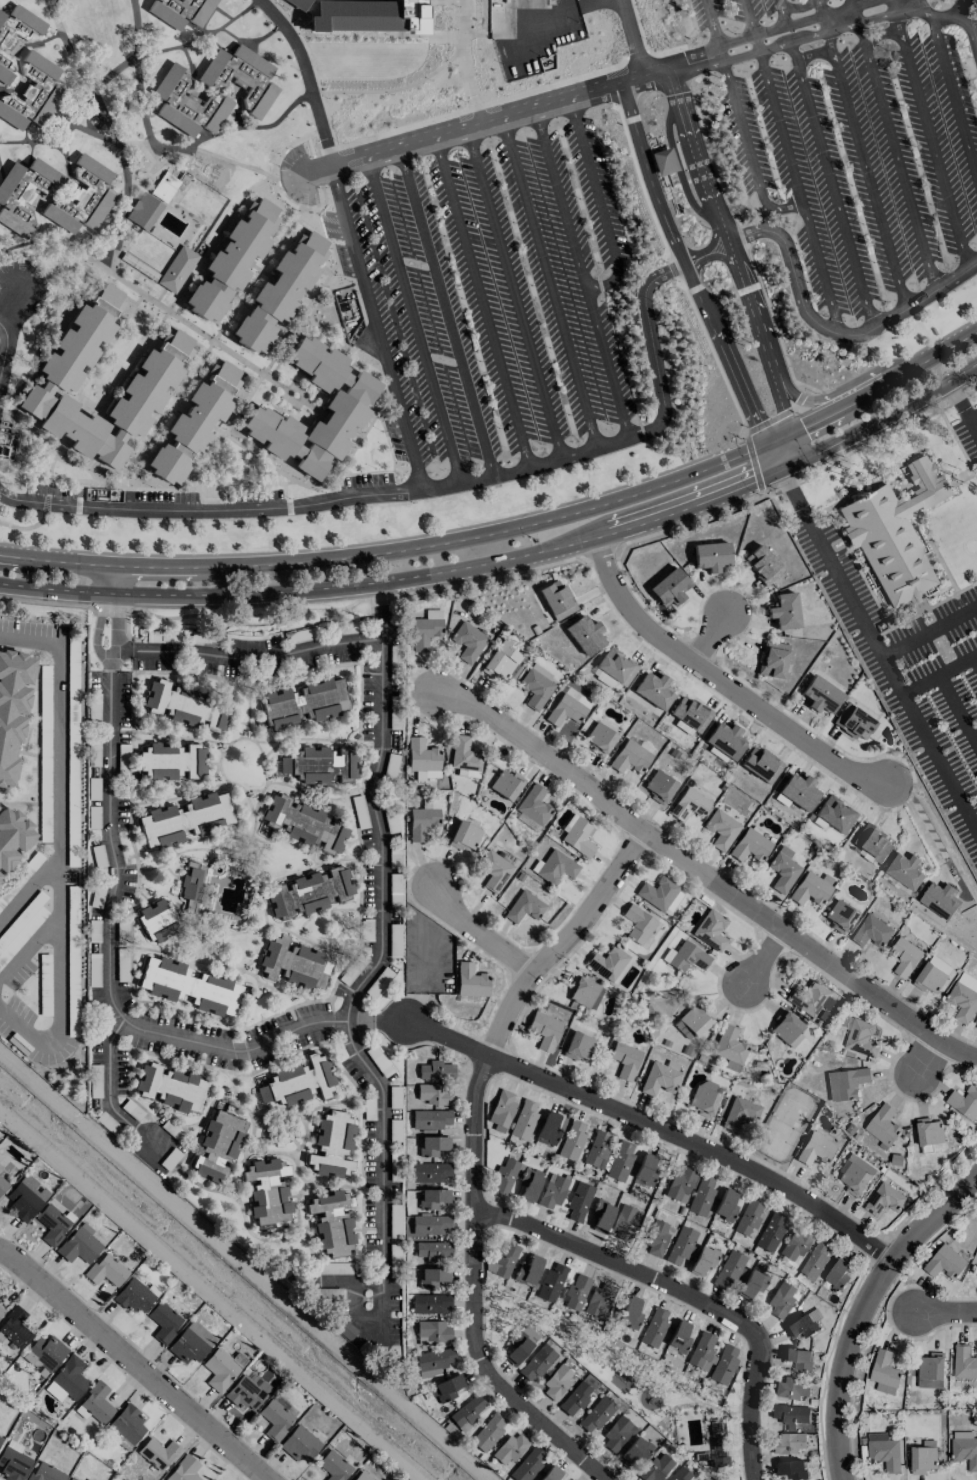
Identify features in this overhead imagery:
road: (890, 1)
road: (893, 1)
road: (900, 1)
building: (298, 4)
road: (867, 4)
road: (855, 6)
road: (799, 7)
parking lot: (742, 10)
building: (181, 11)
road: (821, 11)
road: (785, 12)
road: (940, 13)
building: (367, 15)
road: (877, 15)
road: (749, 17)
road: (971, 17)
road: (841, 18)
road: (769, 30)
road: (881, 34)
road: (635, 38)
road: (757, 43)
building: (6, 45)
road: (776, 47)
road: (66, 48)
road: (461, 54)
road: (815, 54)
road: (129, 59)
road: (313, 69)
road: (135, 71)
road: (306, 76)
building: (242, 78)
road: (953, 89)
building: (32, 94)
building: (188, 106)
road: (478, 106)
road: (526, 111)
road: (740, 120)
road: (931, 134)
road: (196, 141)
road: (31, 142)
road: (896, 150)
building: (665, 162)
parking lot: (863, 163)
road: (866, 164)
road: (243, 165)
road: (315, 170)
road: (125, 178)
road: (834, 184)
building: (165, 187)
road: (799, 192)
building: (24, 194)
building: (83, 199)
road: (602, 202)
building: (145, 211)
road: (734, 253)
building: (232, 261)
building: (178, 269)
road: (686, 269)
road: (584, 272)
road: (548, 282)
building: (279, 293)
road: (513, 293)
parking lot: (490, 295)
road: (150, 299)
road: (481, 302)
road: (445, 312)
road: (413, 320)
road: (375, 326)
road: (831, 331)
road: (5, 347)
road: (269, 363)
building: (158, 379)
road: (878, 389)
road: (831, 392)
building: (238, 394)
road: (962, 407)
building: (345, 408)
road: (972, 414)
building: (194, 424)
building: (7, 440)
road: (782, 452)
road: (450, 483)
road: (689, 503)
building: (895, 533)
road: (397, 550)
building: (711, 556)
building: (762, 564)
building: (669, 588)
road: (189, 595)
building: (557, 600)
road: (381, 609)
building: (784, 611)
road: (930, 629)
building: (424, 632)
building: (585, 634)
road: (710, 640)
building: (468, 642)
road: (878, 645)
road: (976, 658)
road: (247, 660)
building: (501, 660)
building: (772, 660)
building: (613, 670)
road: (941, 675)
road: (719, 682)
building: (537, 686)
building: (653, 689)
building: (820, 695)
building: (304, 703)
building: (187, 706)
building: (568, 707)
road: (958, 707)
building: (13, 708)
building: (689, 716)
building: (854, 722)
building: (600, 738)
building: (725, 739)
building: (630, 757)
building: (465, 758)
building: (423, 759)
building: (172, 761)
building: (761, 764)
building: (321, 765)
building: (506, 784)
building: (659, 786)
building: (798, 791)
building: (689, 804)
building: (534, 805)
building: (835, 814)
building: (185, 819)
building: (423, 819)
building: (303, 824)
road: (919, 826)
building: (721, 829)
building: (577, 835)
building: (464, 836)
building: (12, 837)
building: (873, 842)
building: (750, 846)
road: (56, 849)
building: (554, 867)
parking lot: (46, 868)
building: (783, 869)
building: (905, 870)
road: (116, 871)
building: (493, 871)
road: (711, 879)
building: (190, 886)
road: (25, 889)
building: (810, 890)
building: (309, 892)
building: (660, 894)
building: (939, 899)
building: (524, 907)
building: (840, 916)
building: (157, 919)
building: (637, 924)
building: (710, 930)
building: (871, 931)
road: (480, 935)
road: (561, 942)
road: (28, 949)
road: (380, 949)
building: (905, 956)
building: (686, 957)
road: (761, 957)
building: (294, 964)
building: (608, 964)
building: (932, 974)
building: (471, 981)
building: (189, 986)
building: (584, 993)
building: (964, 996)
building: (692, 1021)
building: (785, 1026)
building: (976, 1027)
building: (545, 1030)
building: (861, 1037)
building: (794, 1039)
building: (729, 1045)
building: (578, 1046)
building: (625, 1060)
road: (927, 1069)
building: (436, 1070)
building: (661, 1077)
building: (298, 1082)
building: (845, 1083)
building: (170, 1087)
building: (434, 1094)
building: (704, 1098)
building: (964, 1101)
building: (502, 1109)
building: (740, 1113)
building: (430, 1119)
building: (524, 1120)
building: (883, 1124)
building: (548, 1129)
building: (929, 1130)
road: (654, 1133)
building: (572, 1141)
building: (332, 1145)
building: (433, 1145)
building: (217, 1146)
building: (816, 1148)
building: (598, 1149)
building: (620, 1161)
building: (645, 1170)
building: (430, 1172)
building: (856, 1174)
building: (506, 1175)
road: (383, 1178)
building: (529, 1184)
building: (3, 1185)
building: (679, 1185)
building: (552, 1191)
building: (267, 1193)
building: (701, 1196)
building: (433, 1198)
building: (884, 1198)
building: (23, 1201)
building: (578, 1202)
building: (725, 1205)
building: (601, 1216)
building: (748, 1218)
road: (935, 1219)
building: (332, 1222)
building: (625, 1223)
building: (51, 1224)
building: (431, 1224)
building: (770, 1232)
building: (656, 1238)
building: (795, 1244)
building: (79, 1245)
building: (680, 1246)
building: (433, 1250)
building: (504, 1259)
building: (815, 1259)
building: (703, 1260)
building: (944, 1262)
building: (729, 1270)
building: (106, 1271)
building: (527, 1271)
building: (837, 1273)
building: (433, 1277)
building: (551, 1283)
building: (752, 1284)
building: (576, 1291)
road: (475, 1293)
building: (133, 1296)
building: (599, 1300)
building: (781, 1301)
building: (430, 1303)
road: (685, 1304)
building: (1, 1310)
building: (630, 1313)
road: (945, 1317)
building: (163, 1322)
building: (654, 1327)
building: (15, 1328)
building: (432, 1332)
building: (678, 1338)
building: (191, 1343)
building: (523, 1343)
building: (702, 1352)
building: (45, 1353)
building: (798, 1358)
building: (964, 1361)
road: (135, 1362)
building: (433, 1362)
building: (537, 1363)
building: (724, 1364)
road: (843, 1364)
building: (220, 1370)
building: (931, 1370)
building: (884, 1372)
building: (67, 1380)
building: (557, 1382)
building: (447, 1387)
building: (791, 1387)
building: (247, 1391)
building: (575, 1398)
building: (97, 1402)
building: (468, 1412)
building: (596, 1414)
building: (790, 1414)
building: (275, 1419)
building: (128, 1423)
building: (488, 1432)
building: (617, 1434)
building: (0, 1439)
building: (299, 1443)
building: (787, 1443)
building: (510, 1448)
building: (964, 1448)
building: (884, 1450)
building: (634, 1452)
building: (159, 1453)
building: (923, 1457)
building: (13, 1461)
building: (528, 1464)
building: (334, 1466)
building: (656, 1467)
building: (789, 1469)
building: (184, 1470)
building: (45, 1472)
building: (550, 1474)
building: (680, 1474)
building: (361, 1476)
building: (71, 1478)
building: (571, 1479)

